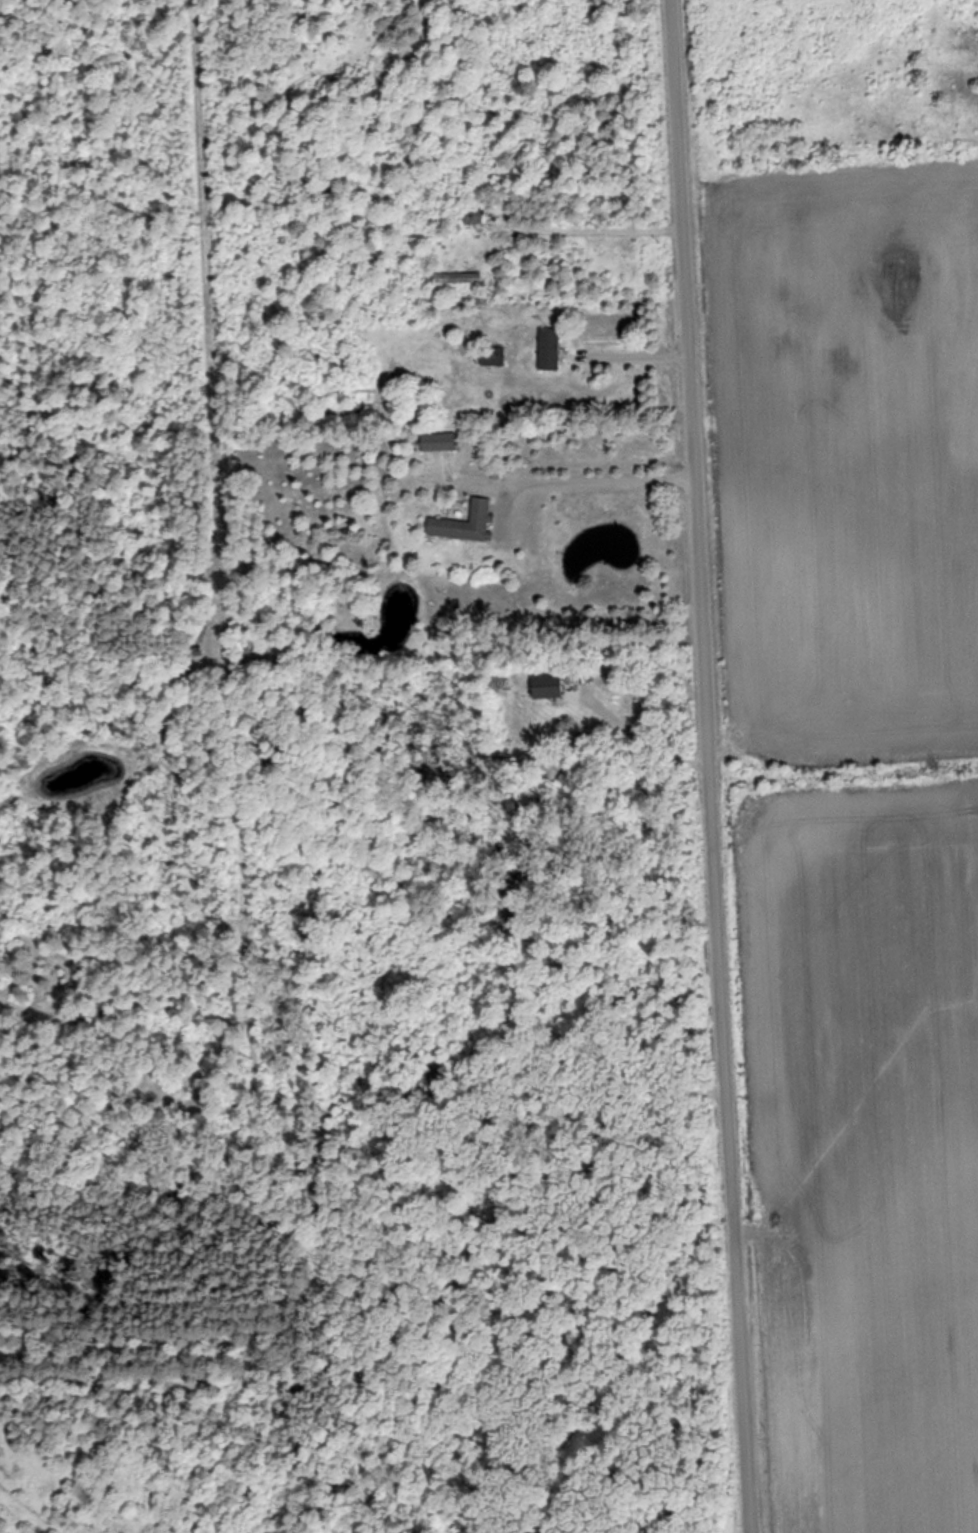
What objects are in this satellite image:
building: (472, 217)
building: (548, 350)
building: (491, 357)
crop: (851, 434)
building: (437, 442)
building: (465, 524)
building: (547, 687)
road: (709, 766)

